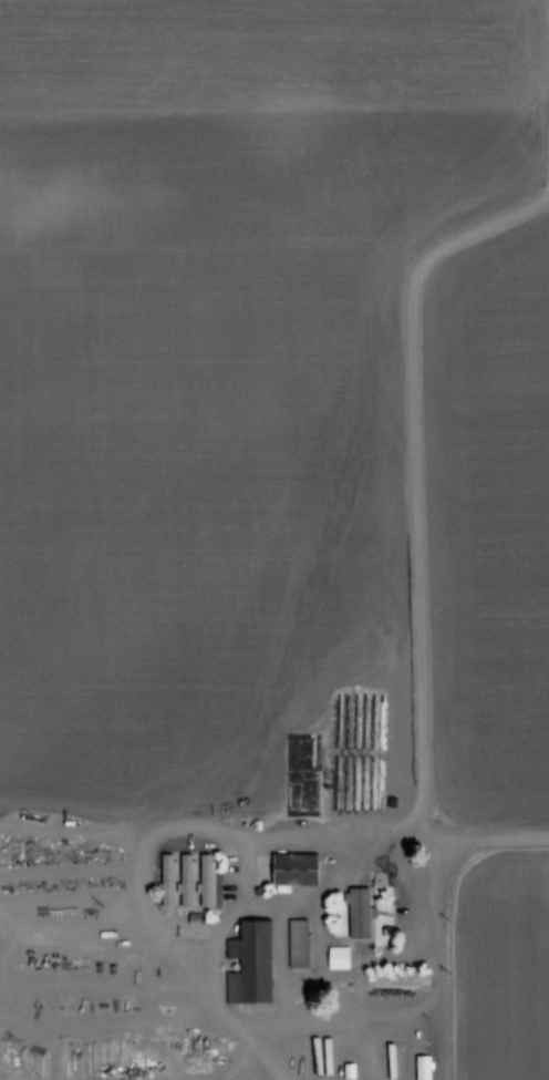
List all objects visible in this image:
road: (439, 539)
building: (293, 871)
building: (298, 945)
building: (338, 959)
building: (249, 966)
building: (423, 1069)

